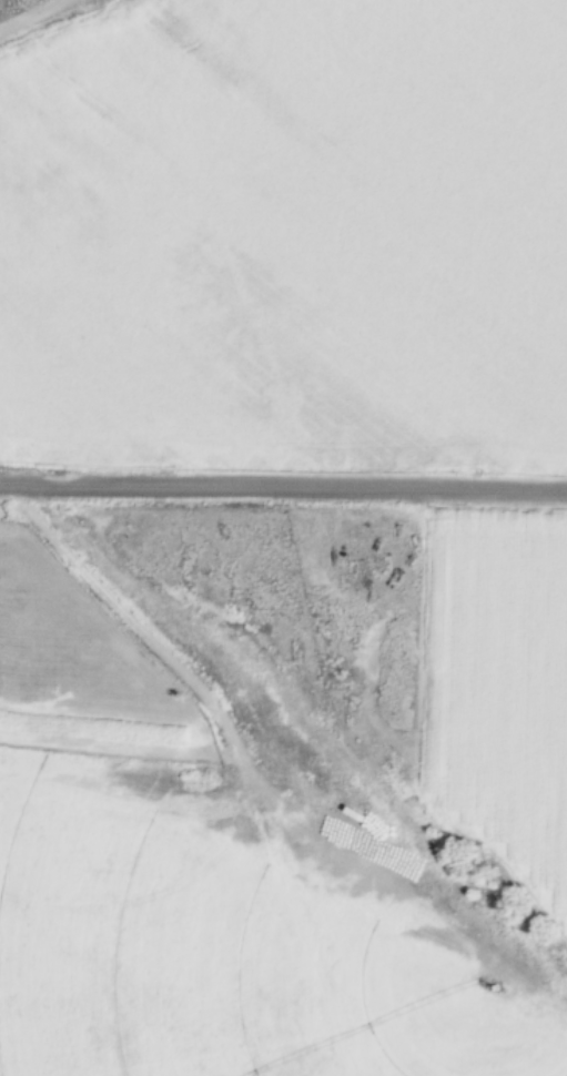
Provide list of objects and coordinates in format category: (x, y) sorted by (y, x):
road: (283, 486)
road: (250, 745)

